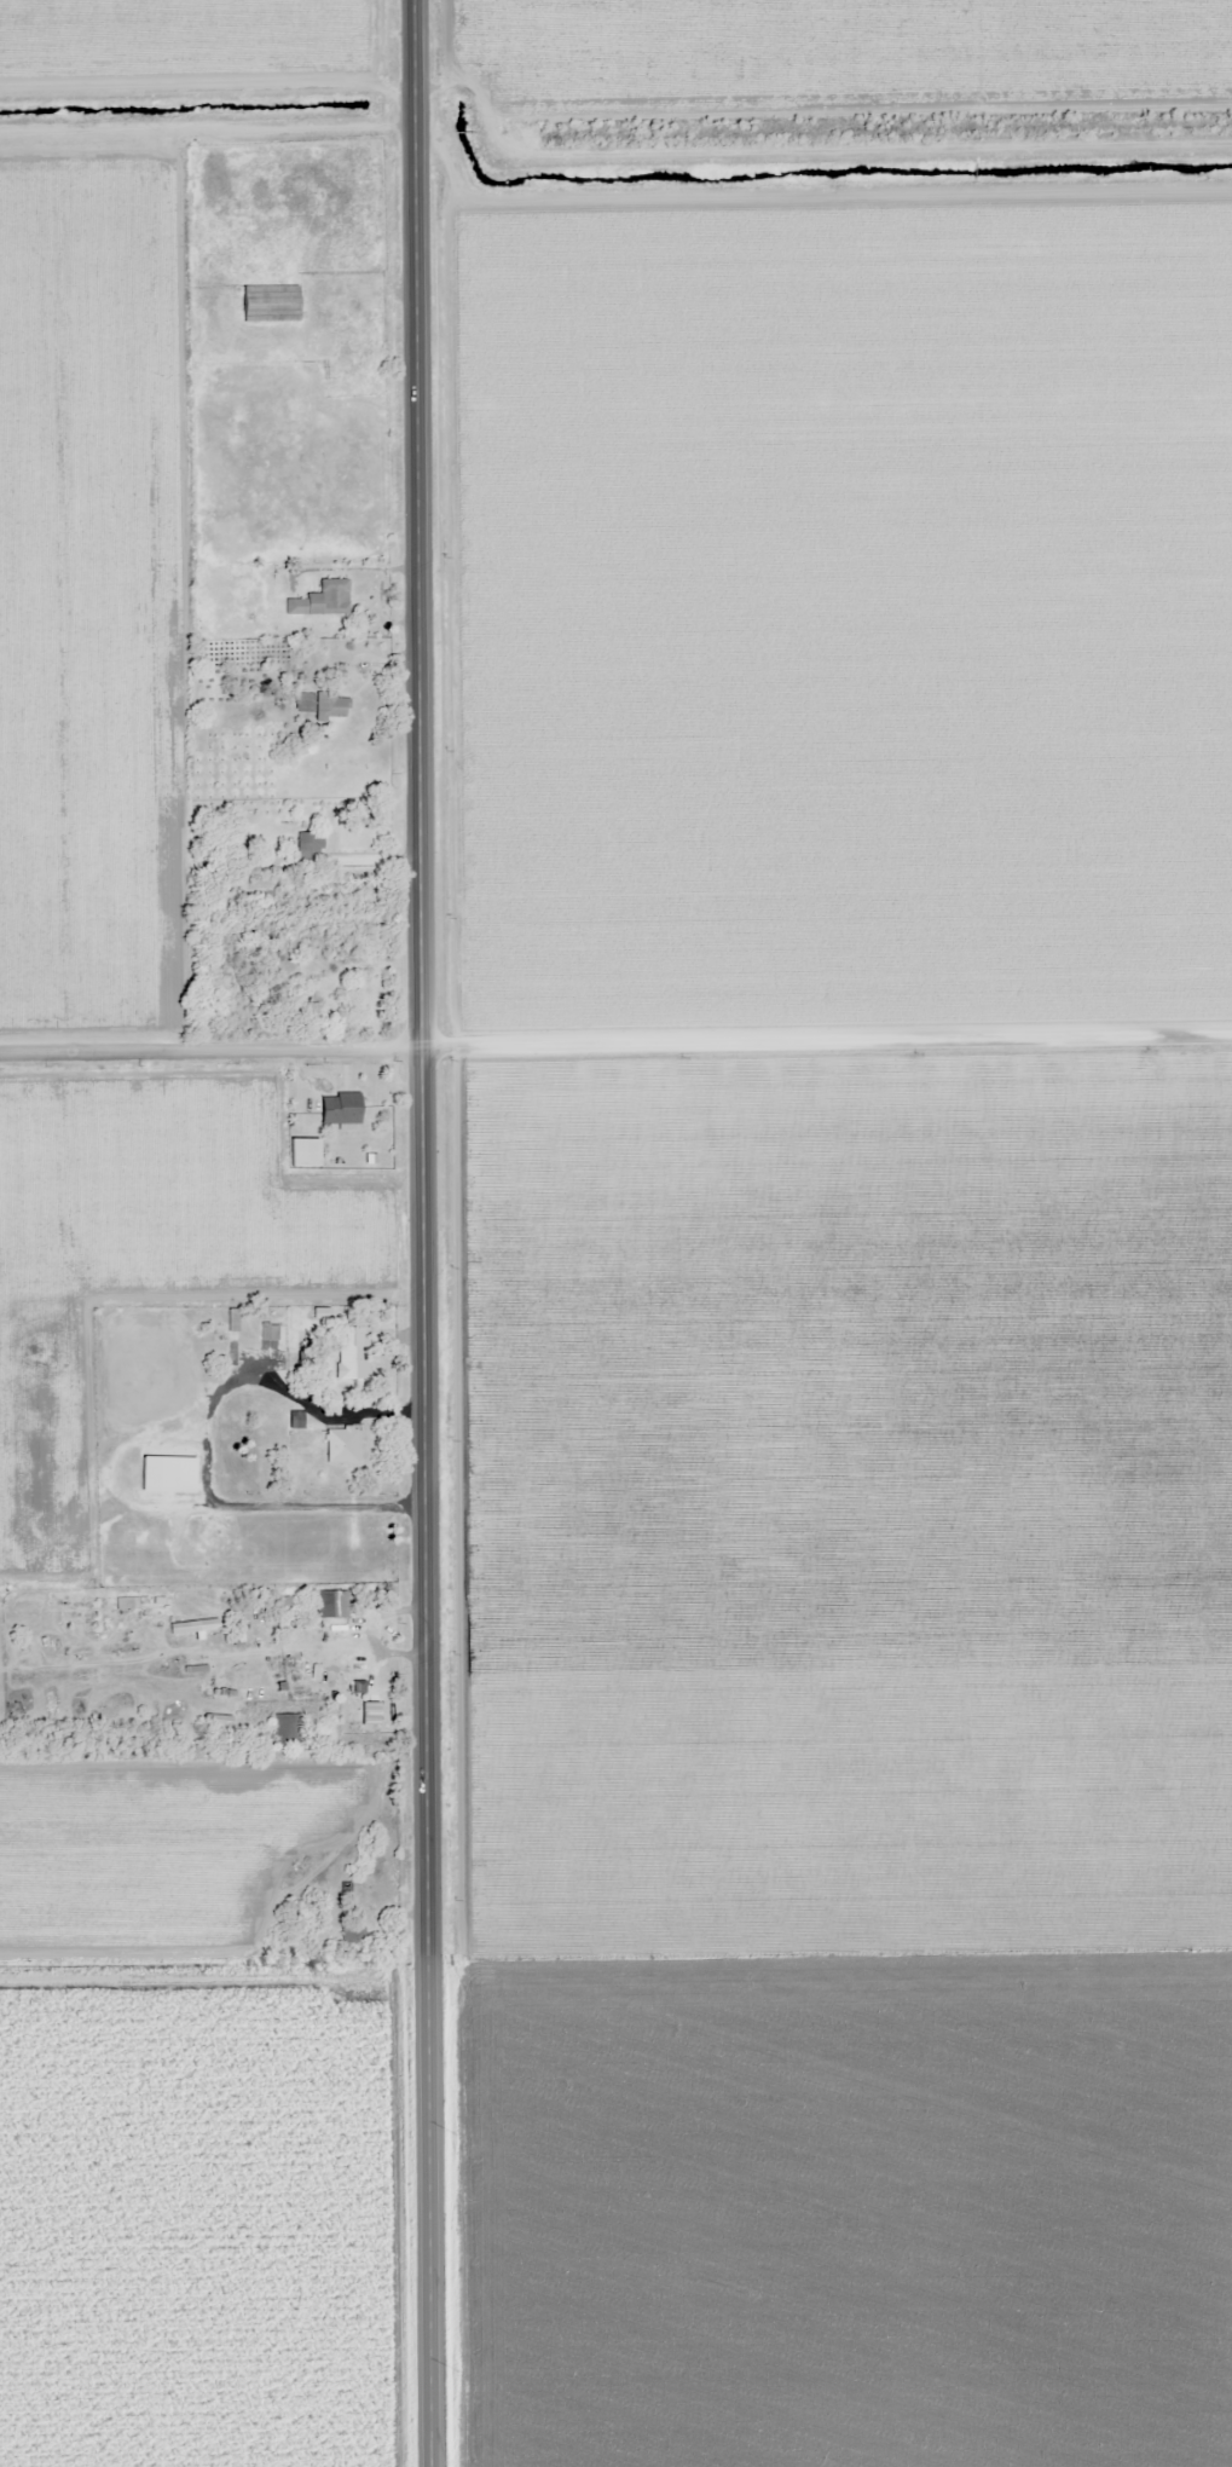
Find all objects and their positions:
building: (267, 302)
building: (319, 600)
building: (329, 705)
building: (305, 843)
road: (615, 1042)
building: (336, 1108)
road: (430, 1233)
building: (351, 1352)
building: (340, 1445)
building: (166, 1473)
building: (330, 1604)
building: (284, 1731)
building: (351, 1940)

